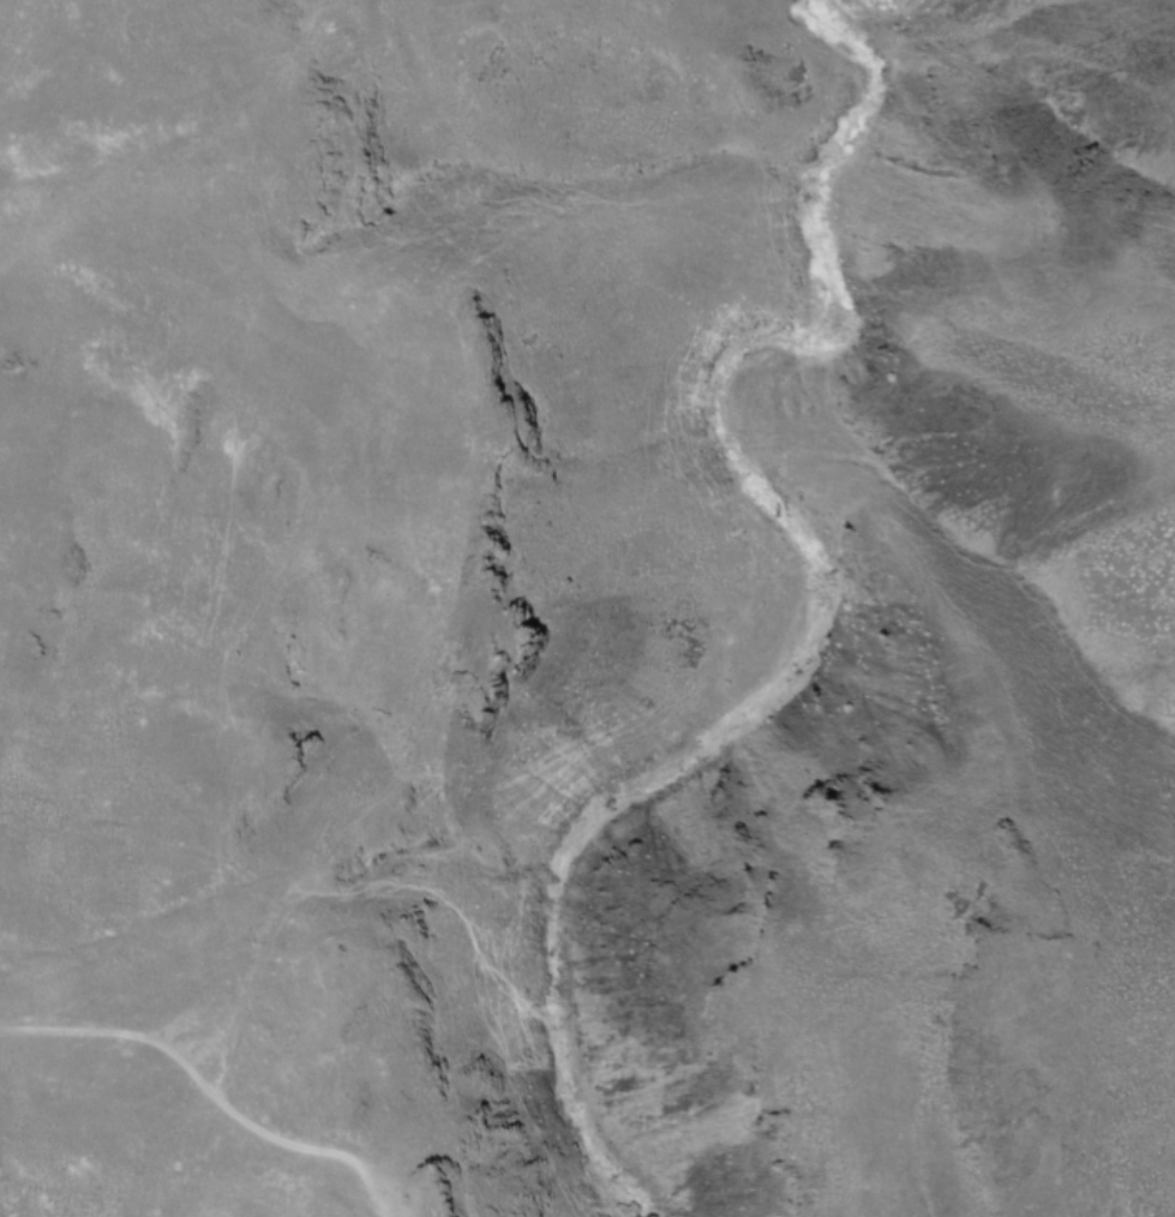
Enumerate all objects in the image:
road: (206, 1091)

